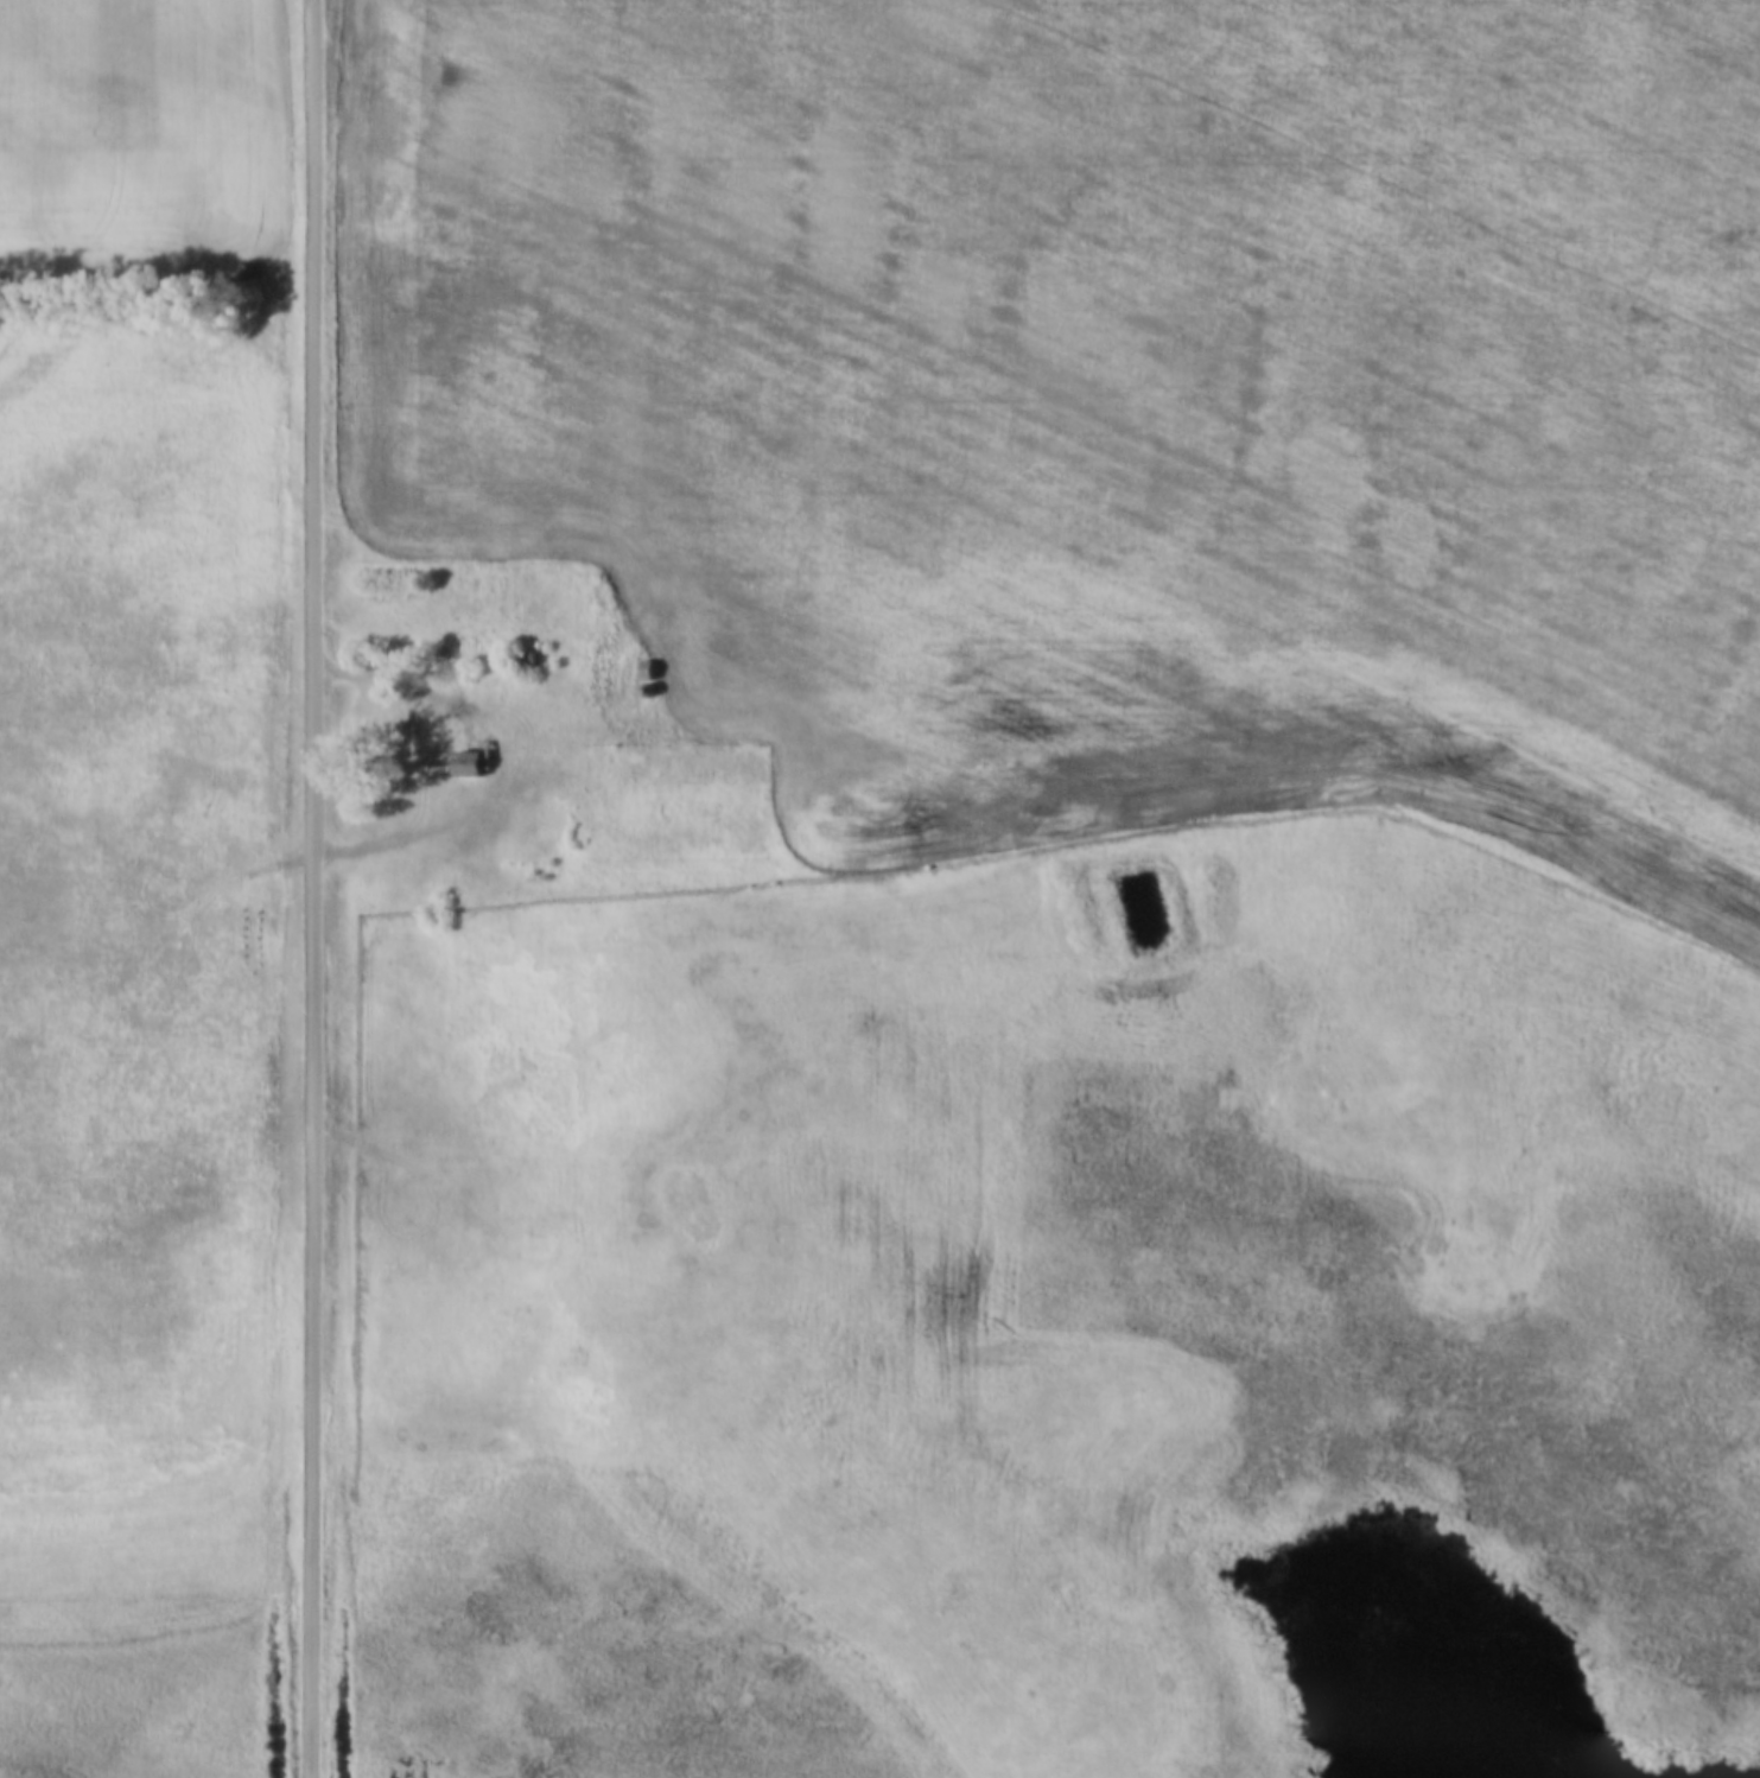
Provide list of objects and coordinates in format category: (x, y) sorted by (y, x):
building: (529, 660)
building: (648, 672)
road: (515, 755)
building: (474, 763)
road: (317, 889)

